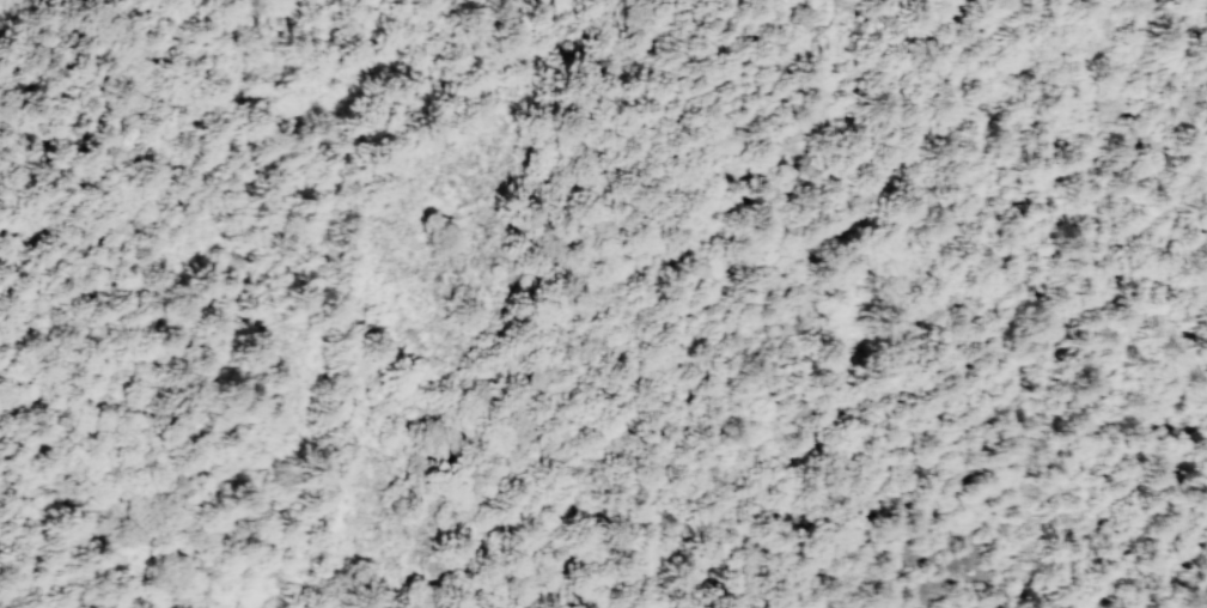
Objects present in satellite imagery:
road: (1081, 399)

